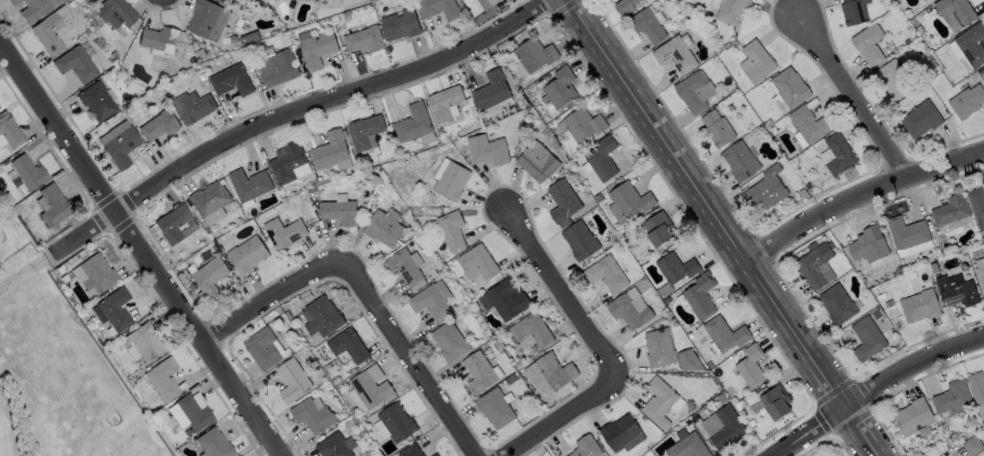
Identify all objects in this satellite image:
building: (10, 0)
road: (189, 1)
building: (489, 4)
road: (145, 6)
building: (623, 6)
building: (438, 8)
building: (34, 9)
road: (156, 9)
building: (955, 10)
building: (730, 11)
building: (852, 11)
building: (116, 13)
building: (209, 20)
building: (400, 24)
building: (646, 25)
building: (51, 30)
building: (160, 39)
building: (365, 40)
building: (867, 44)
building: (970, 44)
building: (318, 48)
building: (533, 54)
building: (674, 54)
building: (756, 61)
building: (75, 64)
building: (278, 67)
building: (891, 79)
building: (231, 80)
building: (788, 86)
building: (559, 87)
building: (490, 90)
building: (691, 92)
road: (851, 92)
building: (95, 100)
building: (965, 101)
building: (443, 102)
building: (778, 103)
building: (194, 107)
road: (299, 107)
building: (919, 119)
building: (412, 122)
building: (808, 123)
building: (582, 124)
building: (159, 125)
building: (716, 128)
building: (9, 130)
building: (363, 131)
building: (119, 143)
building: (329, 150)
building: (486, 150)
building: (837, 153)
building: (601, 158)
building: (739, 160)
building: (286, 162)
building: (536, 162)
building: (26, 172)
building: (450, 181)
building: (248, 184)
building: (279, 191)
building: (764, 192)
road: (859, 197)
building: (208, 199)
building: (629, 199)
building: (561, 201)
building: (52, 205)
building: (976, 205)
building: (949, 209)
building: (339, 211)
building: (171, 223)
building: (382, 228)
building: (657, 228)
road: (722, 229)
building: (450, 230)
building: (283, 232)
building: (905, 232)
building: (578, 240)
building: (867, 244)
road: (140, 248)
building: (247, 253)
building: (477, 262)
building: (812, 265)
building: (403, 266)
building: (675, 267)
building: (96, 272)
building: (605, 274)
building: (208, 276)
building: (980, 278)
road: (364, 286)
building: (955, 292)
building: (700, 296)
building: (506, 298)
building: (430, 303)
building: (836, 304)
building: (918, 306)
building: (114, 308)
building: (627, 311)
building: (320, 316)
building: (531, 329)
building: (725, 334)
building: (865, 338)
building: (143, 341)
building: (449, 341)
building: (347, 345)
road: (599, 346)
building: (262, 348)
building: (657, 348)
building: (750, 366)
building: (554, 370)
building: (477, 373)
building: (161, 378)
building: (291, 379)
building: (369, 386)
building: (976, 387)
road: (872, 390)
building: (950, 396)
building: (775, 401)
building: (658, 402)
building: (494, 407)
building: (193, 413)
building: (312, 415)
building: (912, 415)
building: (395, 421)
building: (726, 427)
park: (6, 430)
building: (619, 432)
building: (214, 444)
building: (972, 445)
building: (332, 446)
building: (687, 446)
building: (585, 447)
building: (409, 450)
building: (433, 454)

